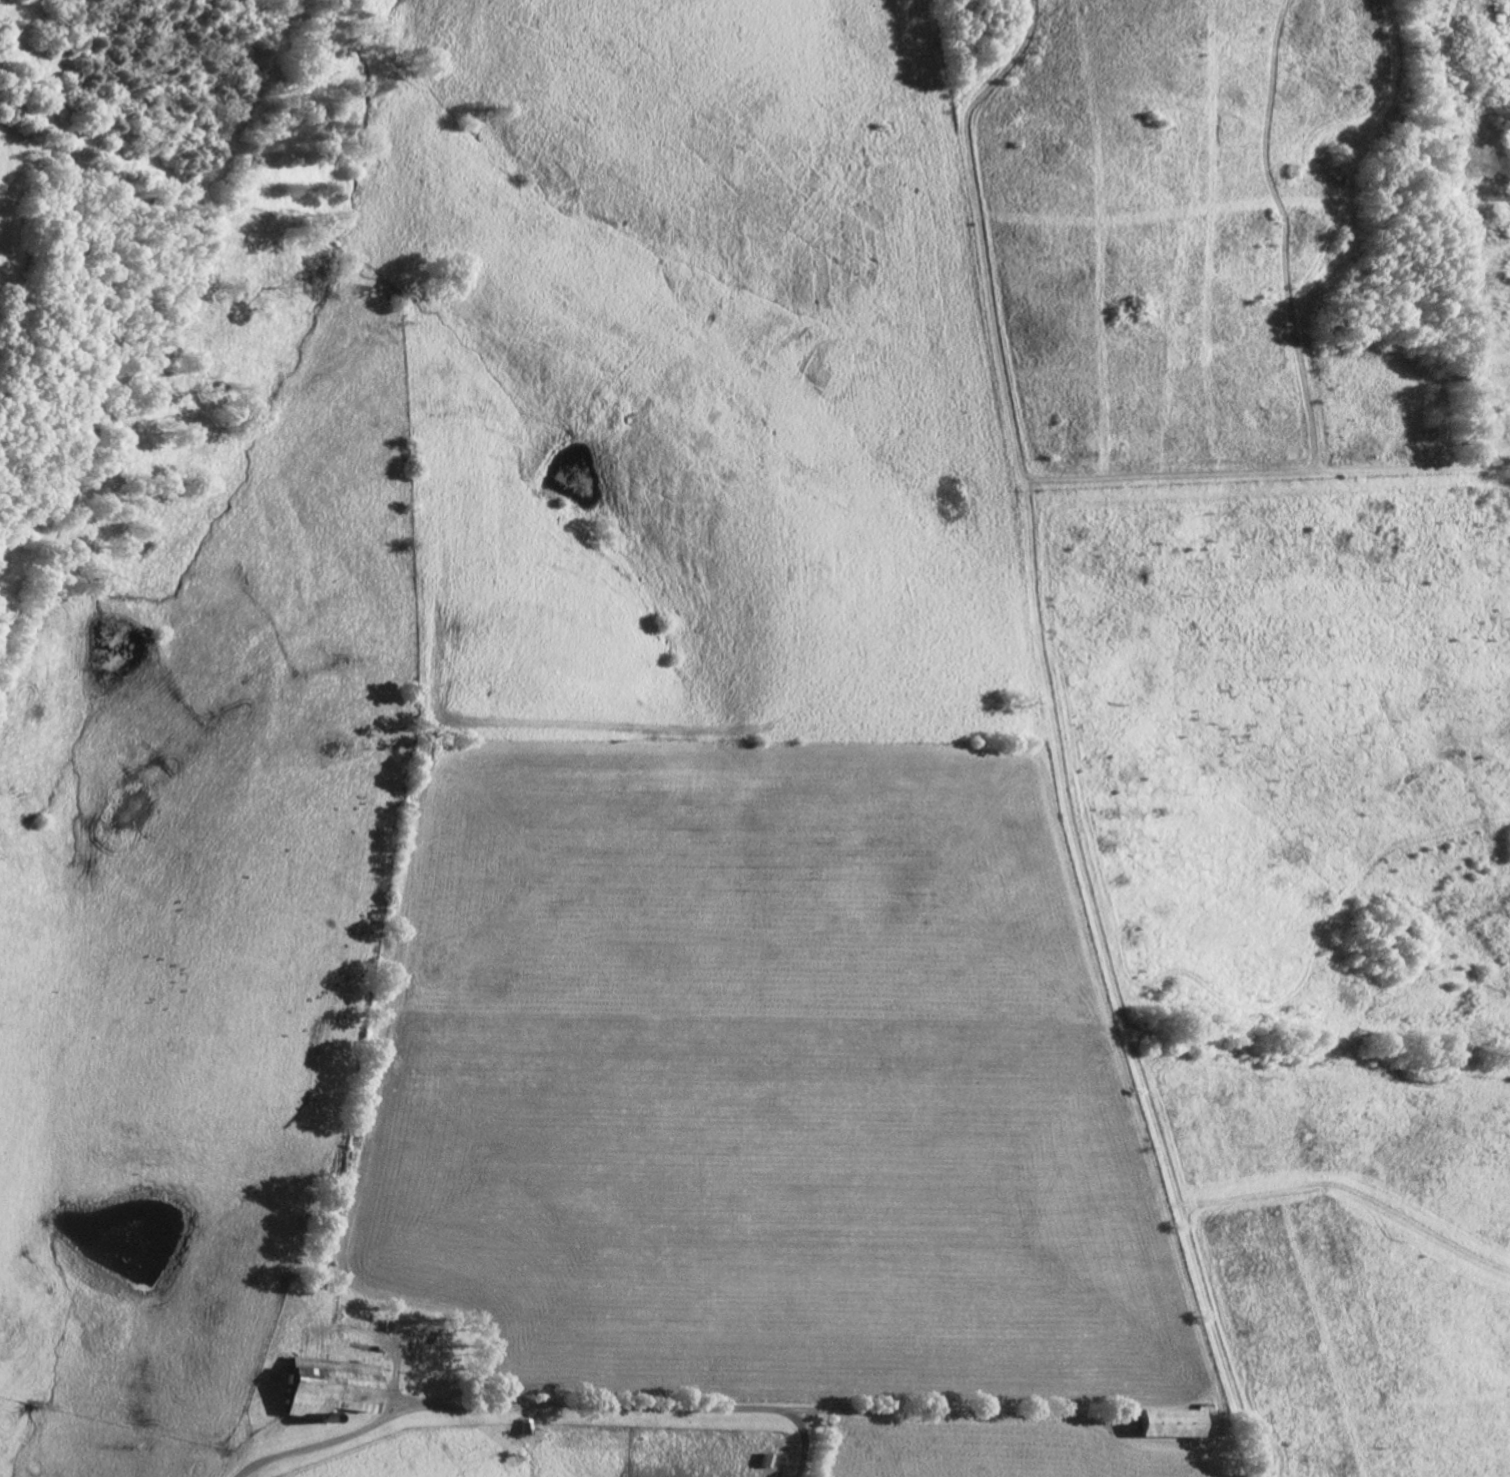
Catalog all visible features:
road: (1309, 300)
road: (1052, 737)
building: (324, 1386)
road: (539, 1405)
building: (1166, 1422)

